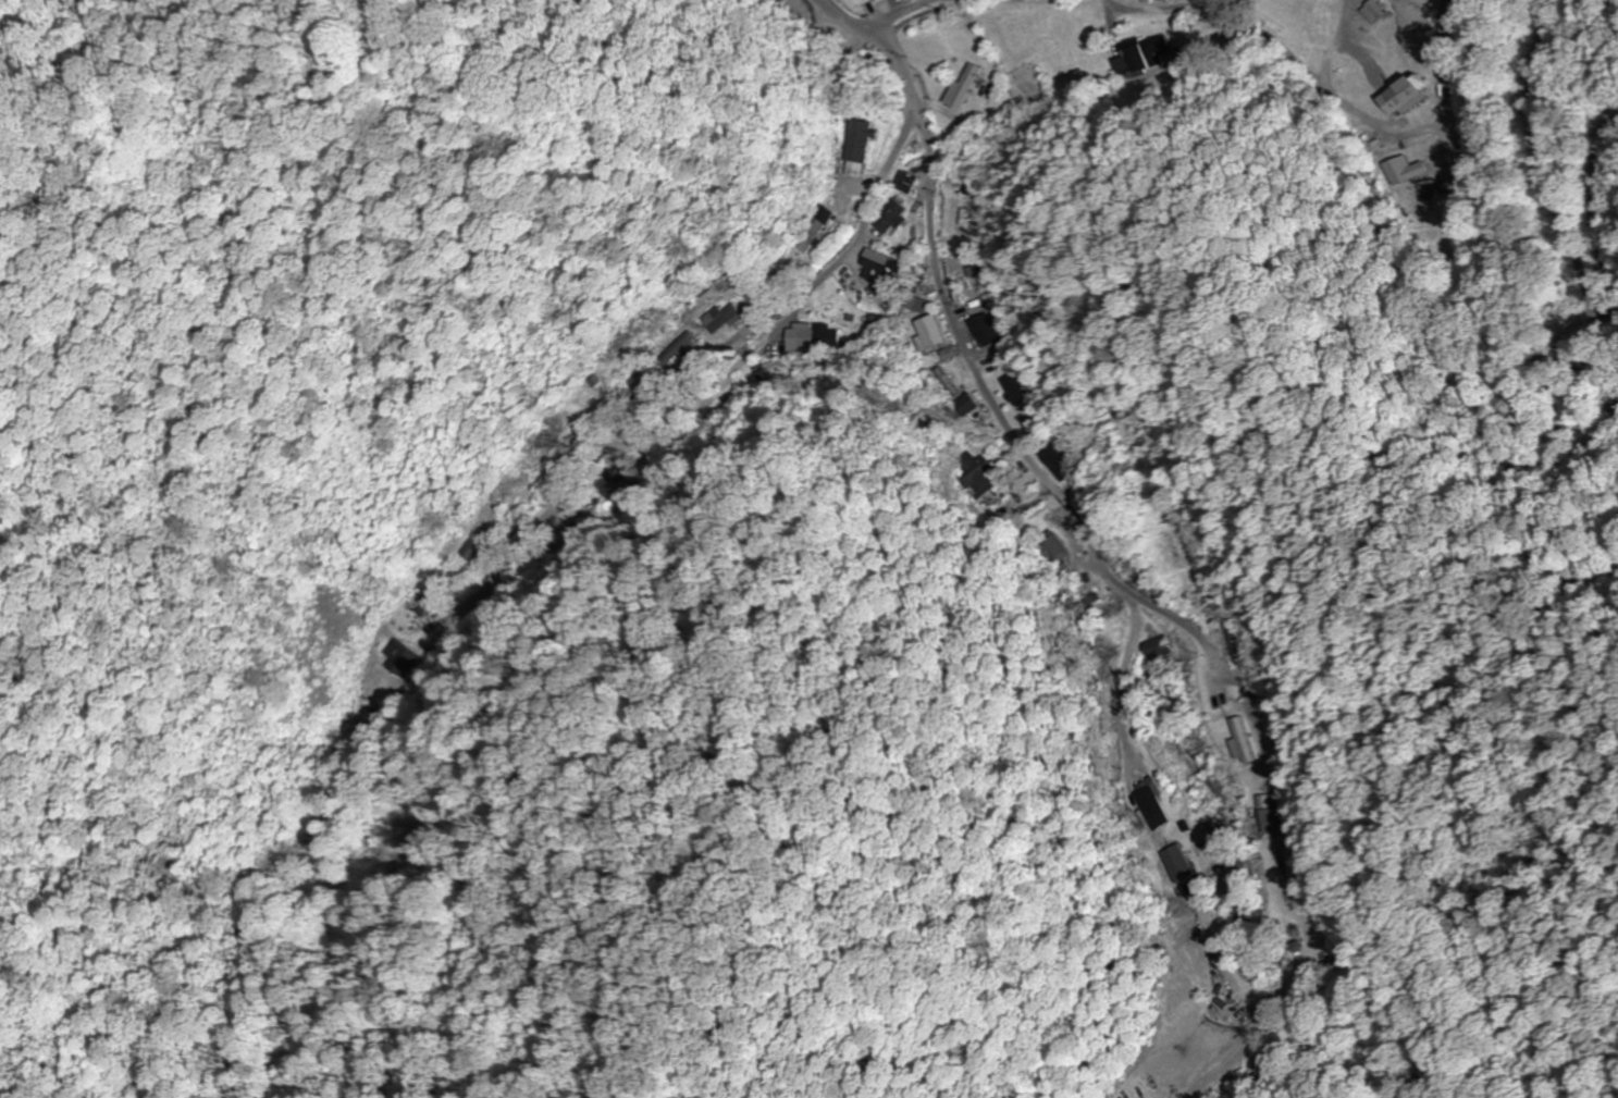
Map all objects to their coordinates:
road: (1438, 10)
building: (1372, 12)
road: (899, 16)
building: (1146, 55)
road: (838, 67)
road: (1360, 74)
building: (962, 87)
building: (863, 141)
building: (907, 182)
building: (893, 217)
building: (813, 234)
building: (884, 269)
building: (729, 279)
road: (937, 281)
building: (721, 319)
road: (759, 328)
building: (986, 331)
building: (930, 332)
building: (870, 335)
building: (810, 338)
building: (676, 349)
building: (640, 380)
building: (1017, 388)
building: (966, 404)
building: (1062, 462)
road: (585, 468)
building: (977, 476)
building: (1172, 548)
building: (1060, 551)
road: (1166, 600)
building: (1232, 639)
road: (1259, 678)
road: (1275, 693)
building: (1158, 805)
building: (1270, 813)
building: (1185, 864)

